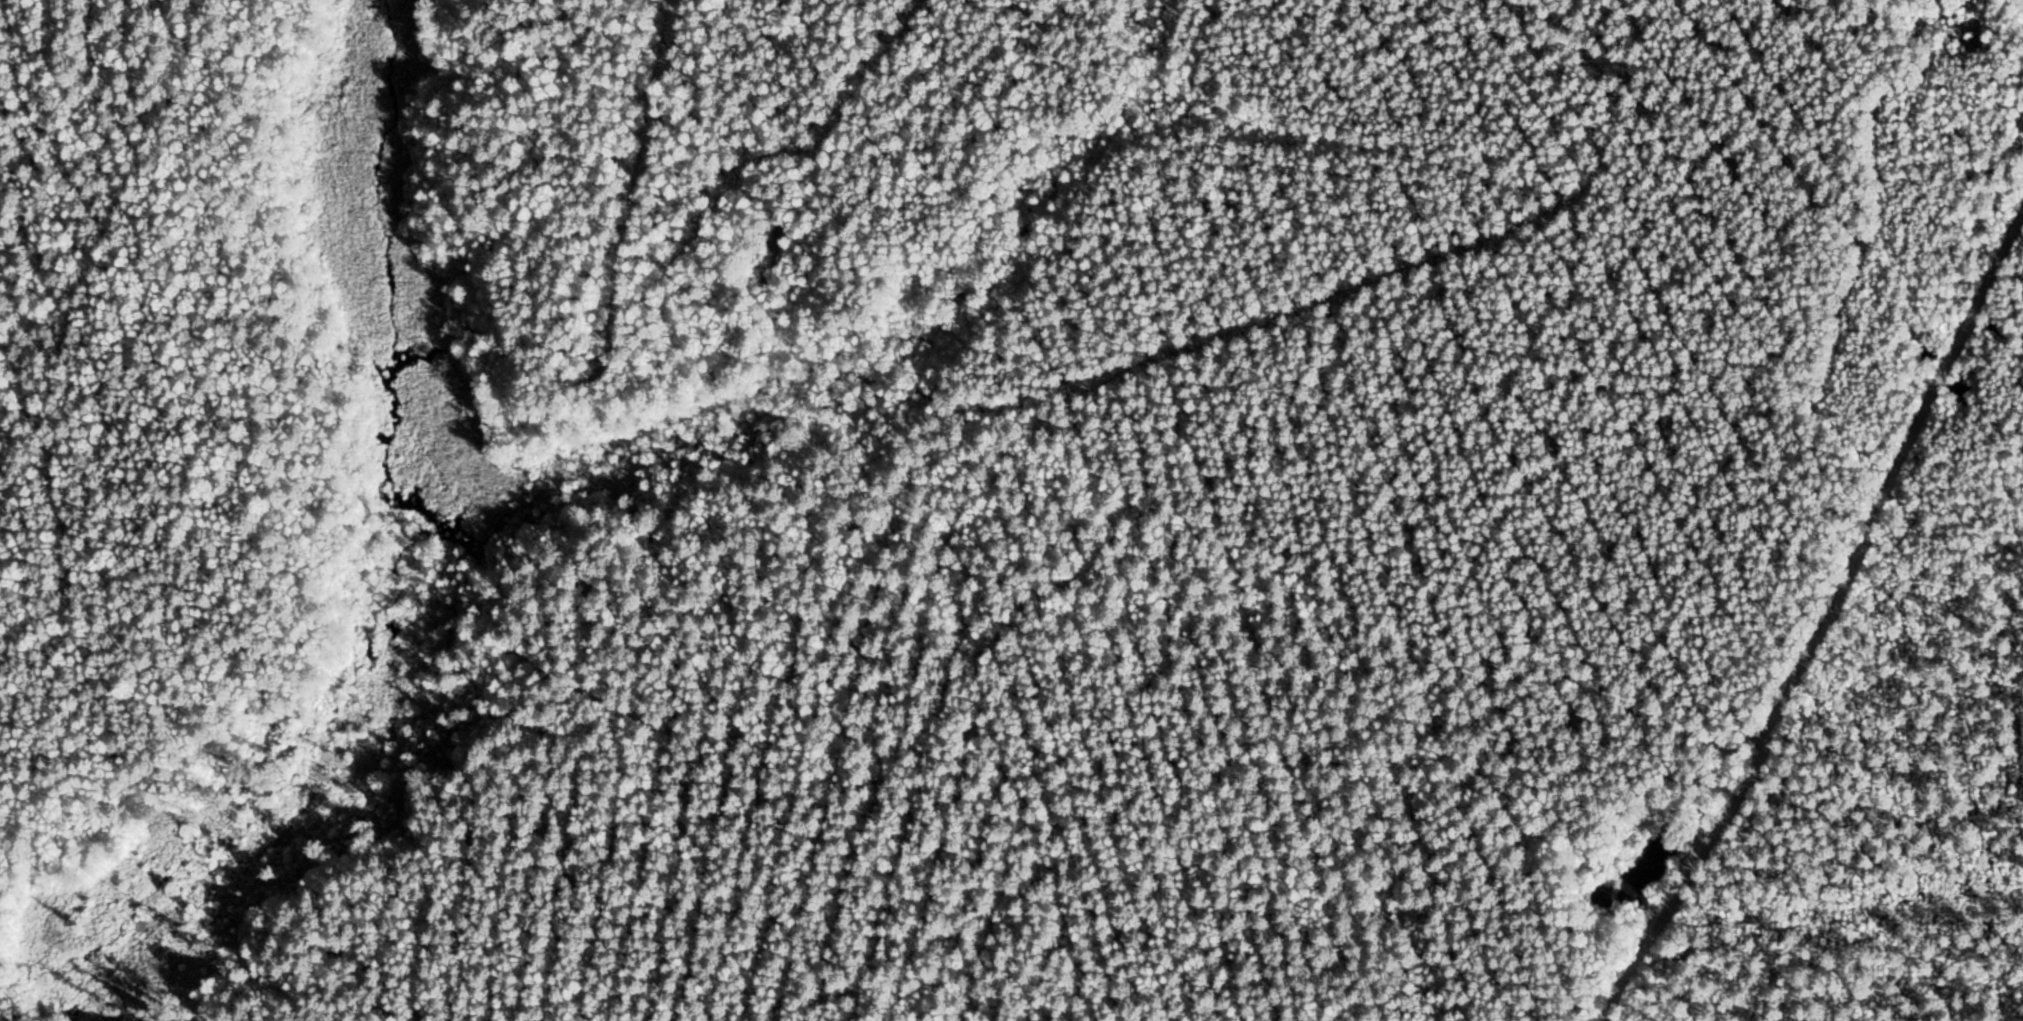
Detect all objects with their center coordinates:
park: (1035, 519)
road: (1817, 622)

